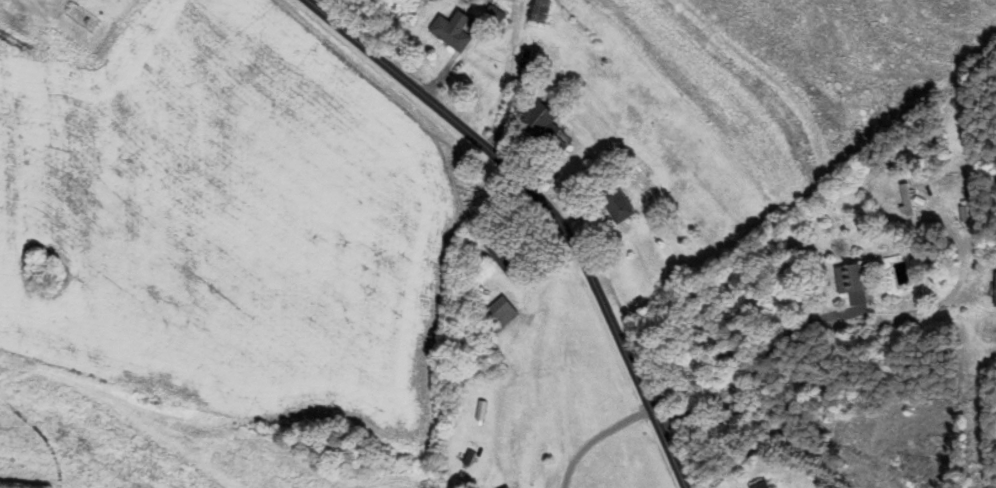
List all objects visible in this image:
building: (538, 10)
building: (454, 29)
building: (543, 117)
building: (908, 198)
building: (618, 202)
road: (548, 206)
building: (505, 253)
building: (858, 279)
building: (500, 312)
building: (480, 354)
road: (43, 435)
road: (596, 436)
building: (760, 484)
building: (509, 487)

